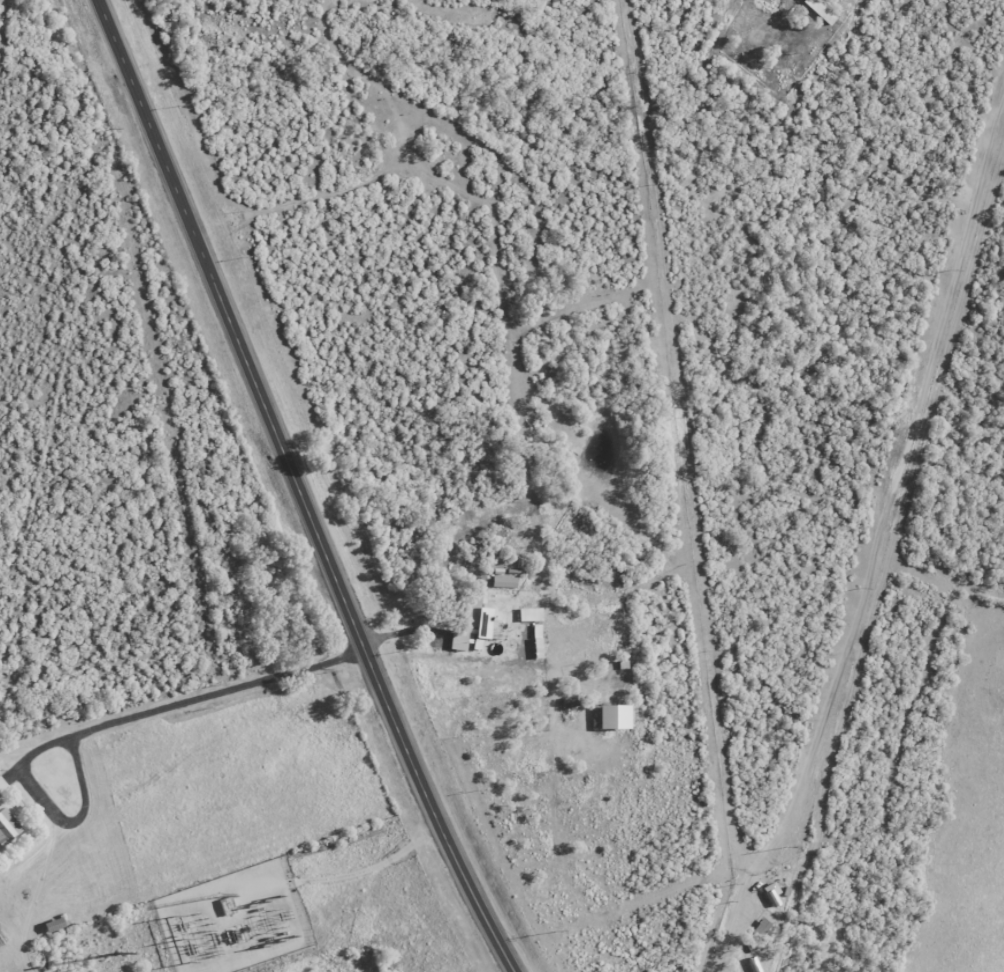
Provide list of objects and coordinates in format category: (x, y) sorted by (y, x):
power tower: (109, 128)
power tower: (947, 270)
power tower: (161, 403)
road: (301, 488)
road: (878, 544)
power tower: (859, 591)
building: (528, 615)
building: (475, 619)
road: (456, 660)
power tower: (214, 686)
building: (611, 718)
road: (188, 734)
building: (7, 828)
power tower: (787, 847)
road: (373, 868)
power tower: (275, 899)
building: (228, 906)
power tower: (256, 906)
power substation: (234, 920)
power tower: (178, 929)
power tower: (549, 934)
power tower: (287, 938)
power tower: (269, 944)
power tower: (186, 953)
power tower: (115, 954)

